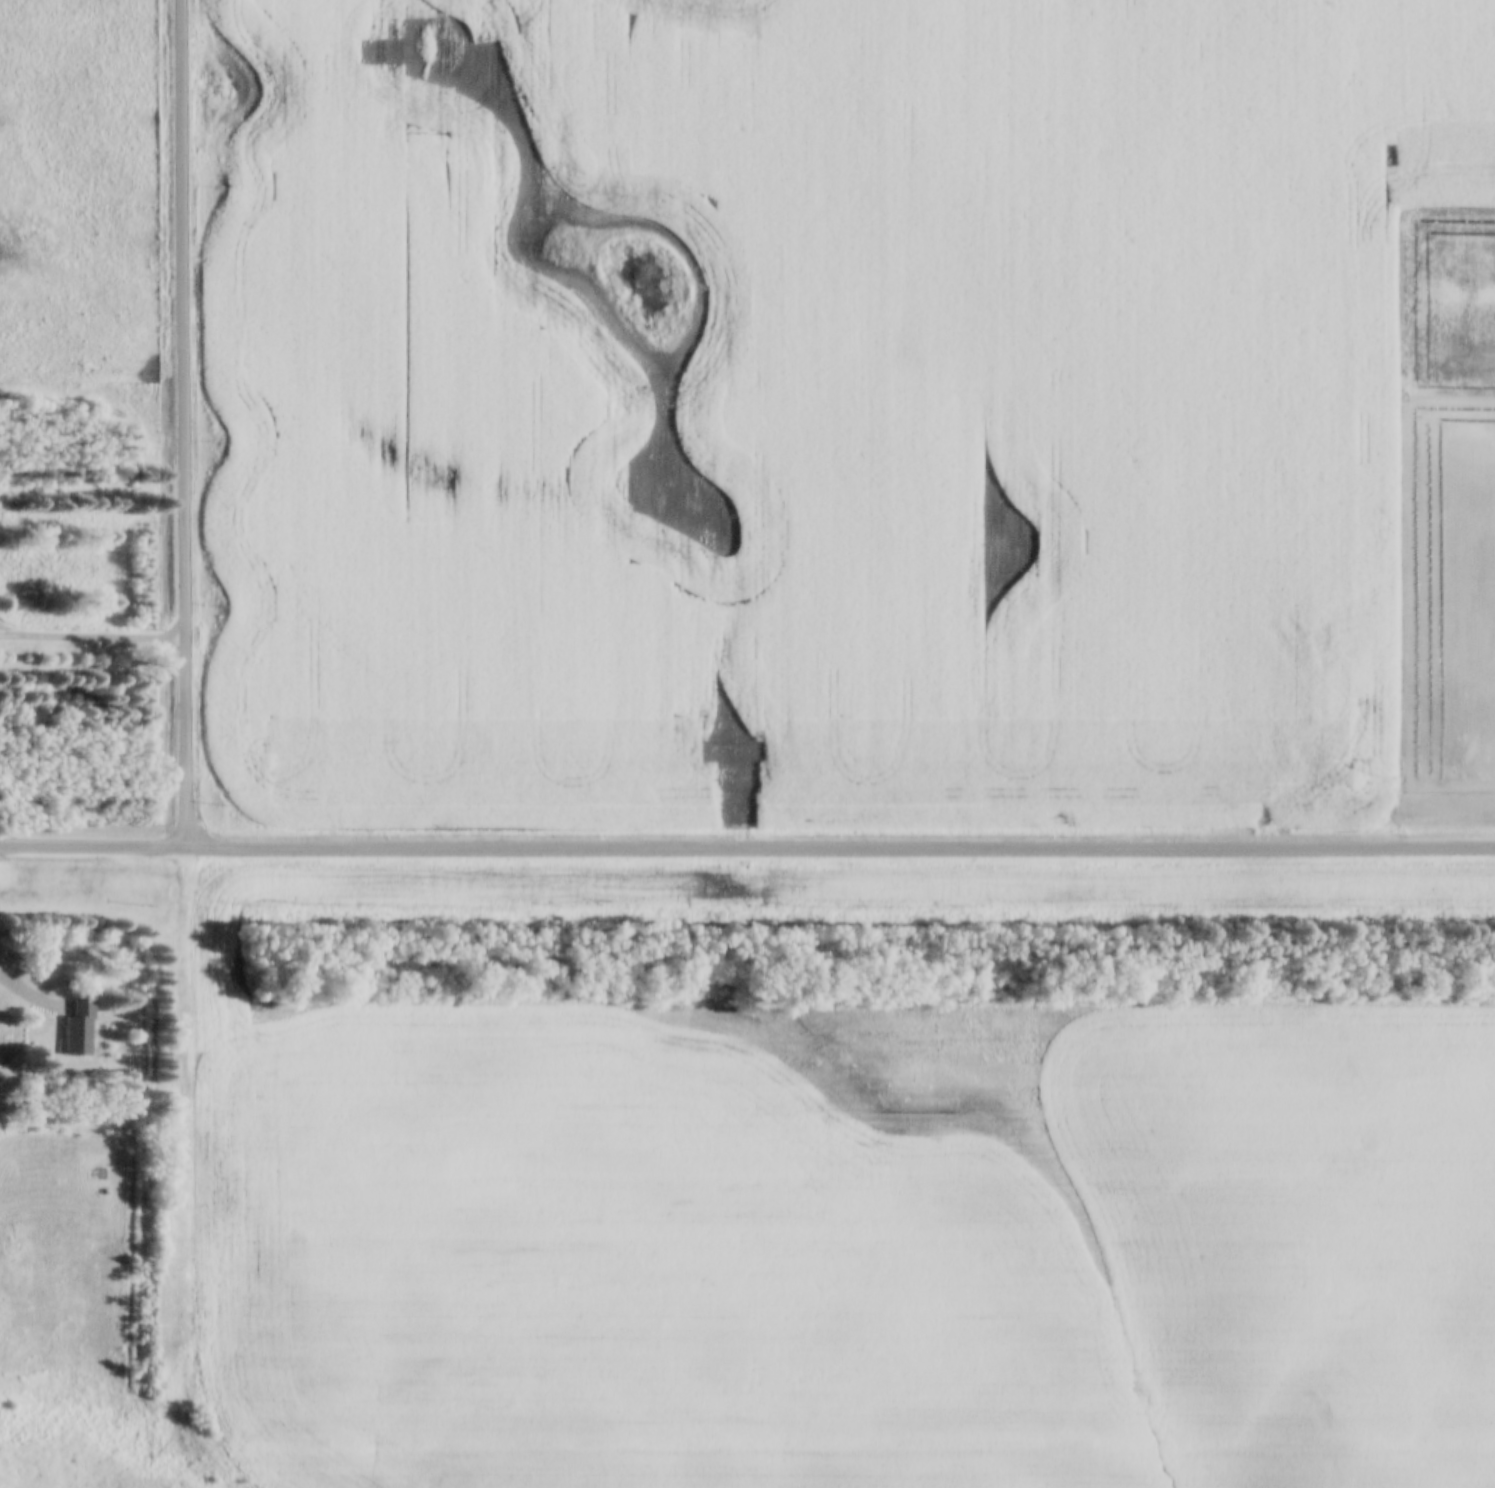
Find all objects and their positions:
road: (182, 425)
road: (92, 640)
road: (747, 852)
road: (24, 993)
building: (78, 1029)

